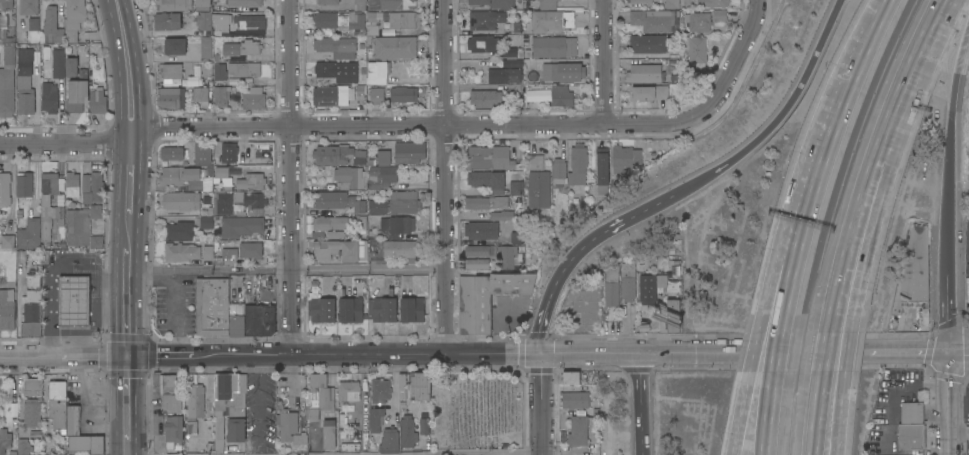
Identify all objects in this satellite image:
building: (639, 1)
building: (326, 2)
building: (245, 3)
building: (492, 3)
building: (671, 3)
building: (712, 3)
building: (6, 4)
building: (397, 4)
building: (546, 4)
building: (173, 5)
building: (202, 5)
building: (359, 5)
building: (28, 7)
building: (719, 15)
building: (373, 16)
building: (74, 18)
building: (204, 20)
building: (404, 20)
building: (484, 20)
building: (549, 20)
building: (656, 20)
building: (167, 21)
building: (221, 21)
building: (249, 21)
building: (339, 21)
building: (699, 21)
building: (52, 26)
building: (371, 30)
building: (5, 37)
building: (483, 43)
building: (649, 43)
road: (739, 43)
building: (175, 46)
building: (336, 46)
building: (552, 46)
building: (206, 47)
building: (241, 47)
building: (393, 47)
building: (76, 48)
building: (697, 49)
building: (509, 53)
building: (57, 61)
road: (604, 62)
building: (515, 63)
road: (128, 64)
building: (70, 67)
building: (243, 69)
building: (325, 69)
building: (567, 71)
building: (219, 72)
building: (378, 72)
building: (653, 73)
building: (170, 74)
building: (504, 75)
road: (851, 78)
building: (25, 81)
road: (912, 81)
building: (7, 82)
building: (191, 82)
building: (77, 92)
building: (661, 92)
building: (403, 93)
building: (642, 93)
building: (198, 94)
building: (220, 95)
building: (329, 95)
building: (376, 95)
building: (561, 96)
building: (49, 97)
building: (170, 98)
building: (253, 98)
building: (485, 98)
building: (97, 100)
road: (780, 116)
road: (365, 127)
road: (950, 129)
building: (227, 152)
building: (410, 152)
building: (172, 153)
building: (201, 153)
building: (338, 155)
building: (489, 157)
building: (383, 158)
building: (625, 158)
building: (535, 162)
building: (570, 168)
building: (601, 170)
road: (131, 171)
building: (208, 171)
building: (221, 172)
building: (177, 175)
building: (351, 176)
road: (445, 176)
road: (292, 177)
building: (380, 177)
building: (487, 180)
building: (250, 181)
building: (206, 183)
building: (72, 184)
building: (25, 185)
building: (516, 187)
building: (5, 189)
building: (539, 189)
road: (812, 194)
building: (181, 200)
building: (238, 201)
building: (339, 201)
building: (485, 202)
building: (396, 203)
building: (518, 205)
building: (52, 212)
building: (86, 213)
building: (502, 215)
building: (206, 222)
building: (329, 223)
building: (240, 226)
building: (396, 227)
building: (180, 230)
building: (478, 230)
road: (129, 231)
building: (29, 234)
building: (514, 237)
building: (7, 241)
building: (269, 245)
building: (395, 249)
building: (249, 250)
building: (341, 250)
building: (476, 250)
road: (860, 250)
building: (181, 252)
road: (580, 252)
building: (207, 253)
building: (229, 253)
building: (507, 256)
building: (217, 262)
building: (477, 264)
road: (287, 269)
road: (49, 271)
building: (914, 274)
building: (32, 275)
road: (771, 276)
road: (791, 280)
building: (660, 281)
building: (627, 282)
building: (611, 285)
building: (646, 288)
road: (947, 290)
building: (487, 297)
building: (74, 300)
road: (128, 303)
building: (211, 307)
road: (96, 309)
building: (382, 309)
building: (412, 309)
building: (7, 310)
building: (323, 310)
building: (350, 310)
building: (31, 314)
building: (674, 315)
building: (236, 319)
building: (260, 320)
road: (91, 325)
road: (964, 329)
road: (79, 331)
traffic signals: (949, 349)
road: (959, 349)
road: (876, 350)
road: (700, 352)
road: (754, 352)
road: (777, 352)
road: (361, 354)
traffic signals: (541, 354)
road: (835, 354)
road: (63, 358)
traffic signals: (127, 358)
road: (949, 367)
building: (571, 377)
building: (418, 385)
road: (920, 385)
road: (19, 386)
building: (401, 386)
building: (32, 387)
building: (348, 390)
building: (379, 391)
building: (171, 392)
building: (318, 397)
road: (127, 400)
building: (575, 400)
building: (57, 403)
building: (194, 403)
road: (541, 404)
road: (642, 404)
building: (229, 406)
building: (32, 413)
road: (742, 414)
road: (770, 414)
road: (827, 415)
road: (949, 417)
building: (375, 420)
building: (423, 426)
building: (911, 426)
building: (291, 430)
building: (76, 431)
building: (174, 431)
building: (191, 431)
building: (578, 431)
building: (407, 432)
building: (328, 437)
building: (5, 440)
building: (388, 441)
building: (97, 445)
building: (23, 446)
road: (127, 449)
road: (438, 451)
road: (950, 452)

